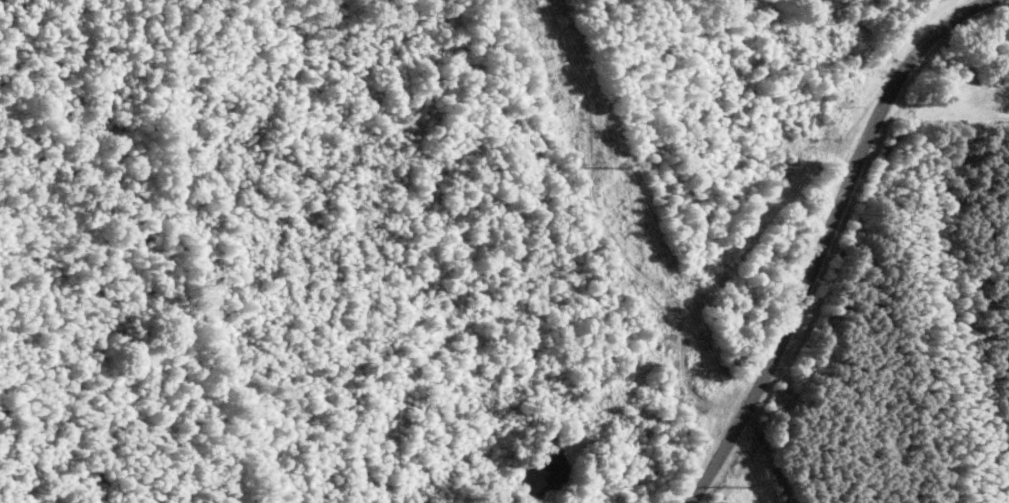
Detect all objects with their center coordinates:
road: (825, 233)

